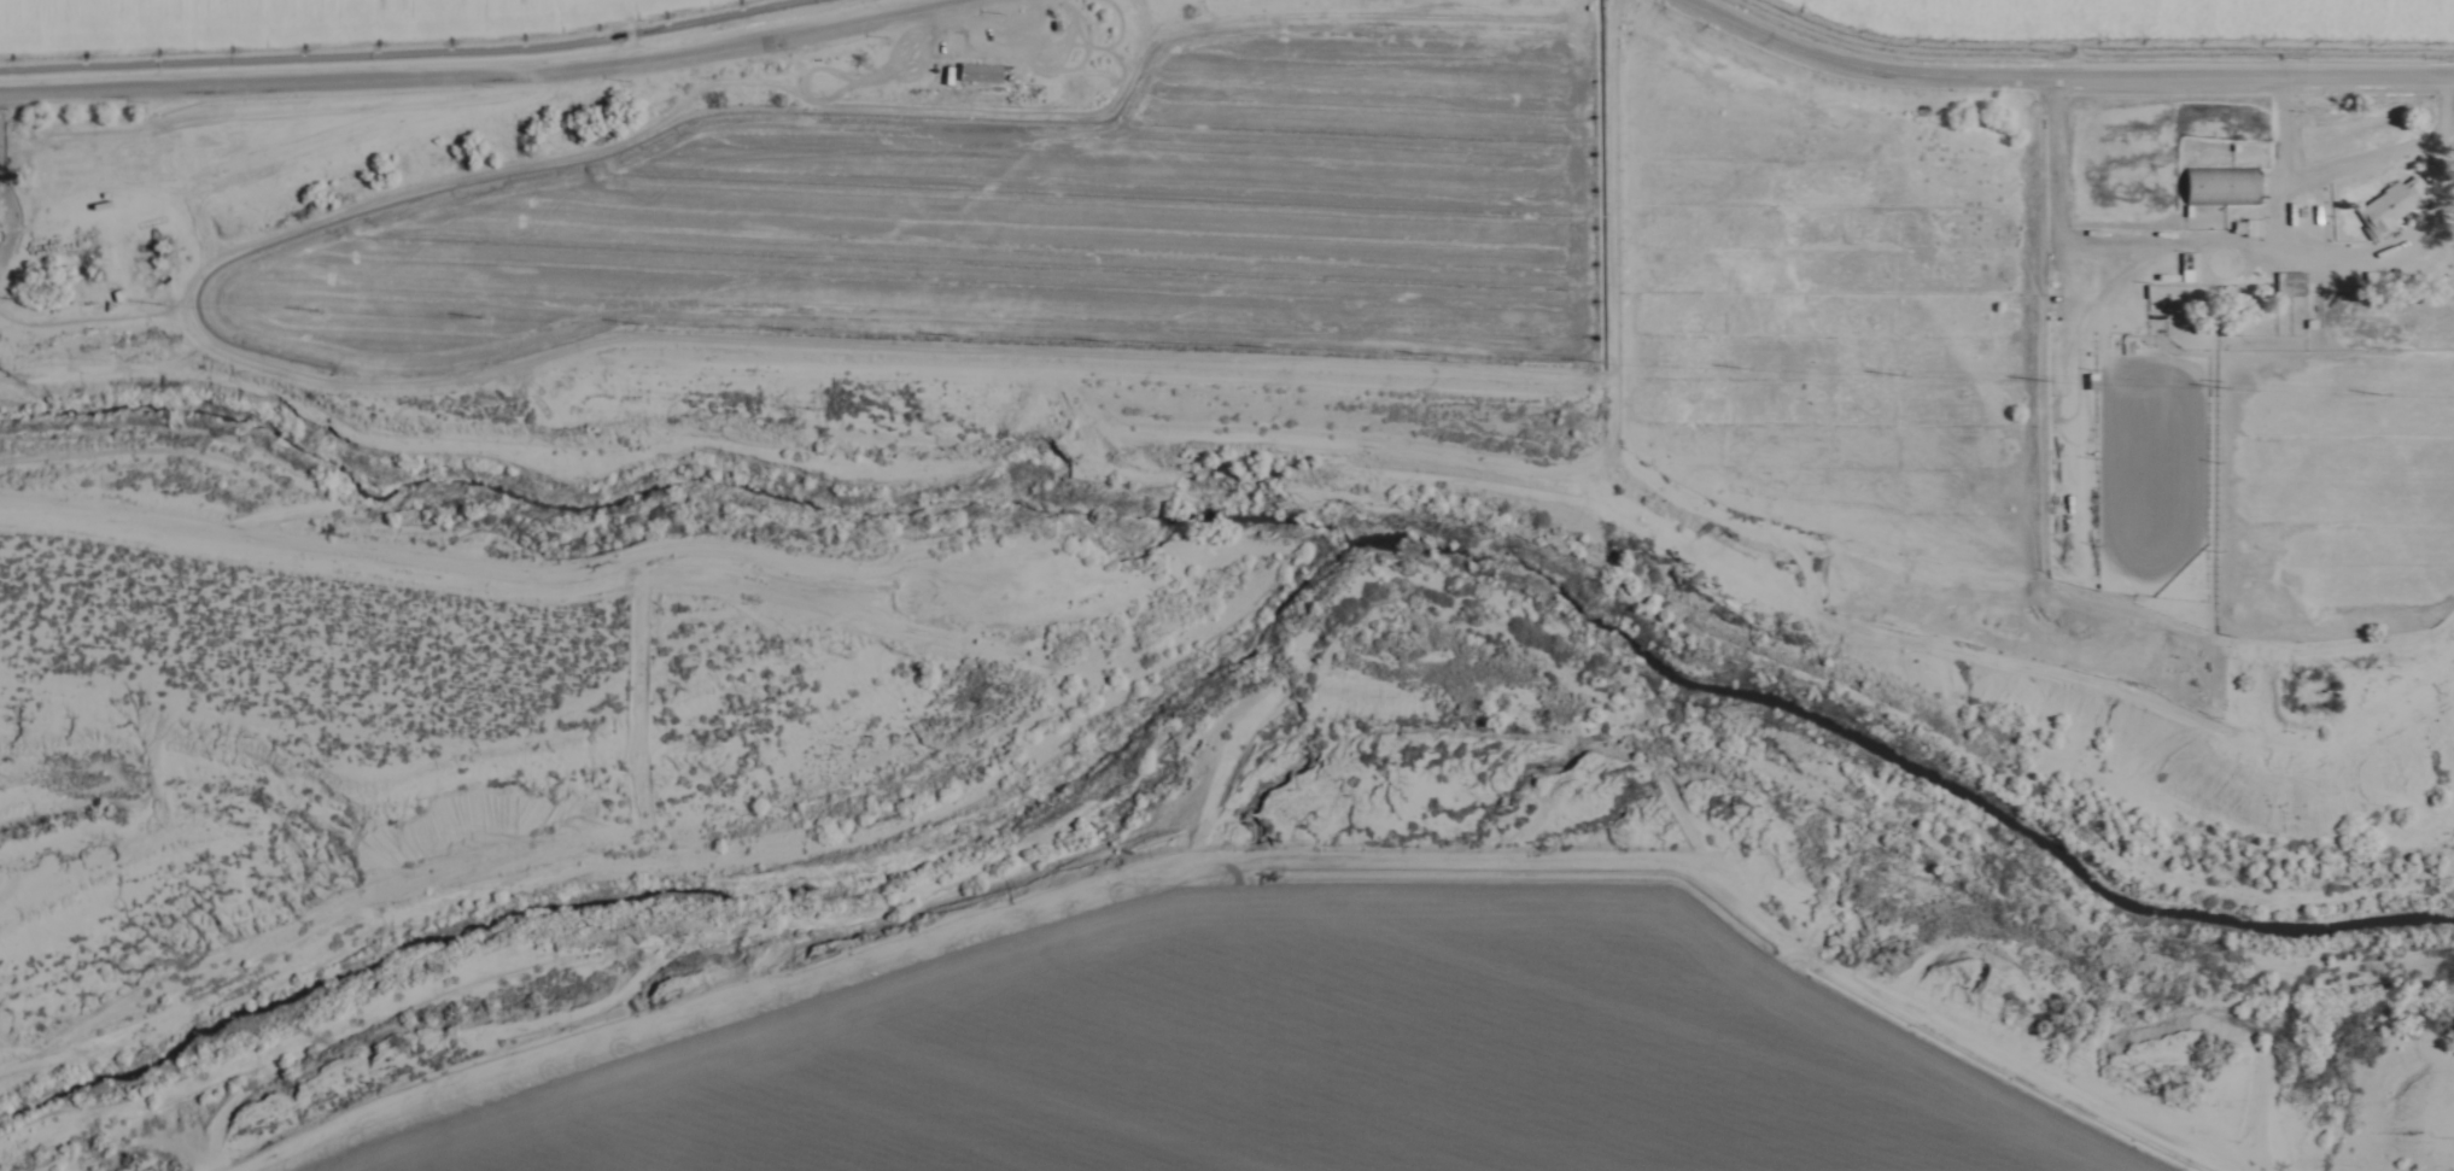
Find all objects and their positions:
crop: (2108, 5)
crop: (145, 8)
road: (1229, 8)
building: (971, 71)
building: (2219, 186)
building: (2391, 205)
building: (2245, 228)
building: (2288, 286)

